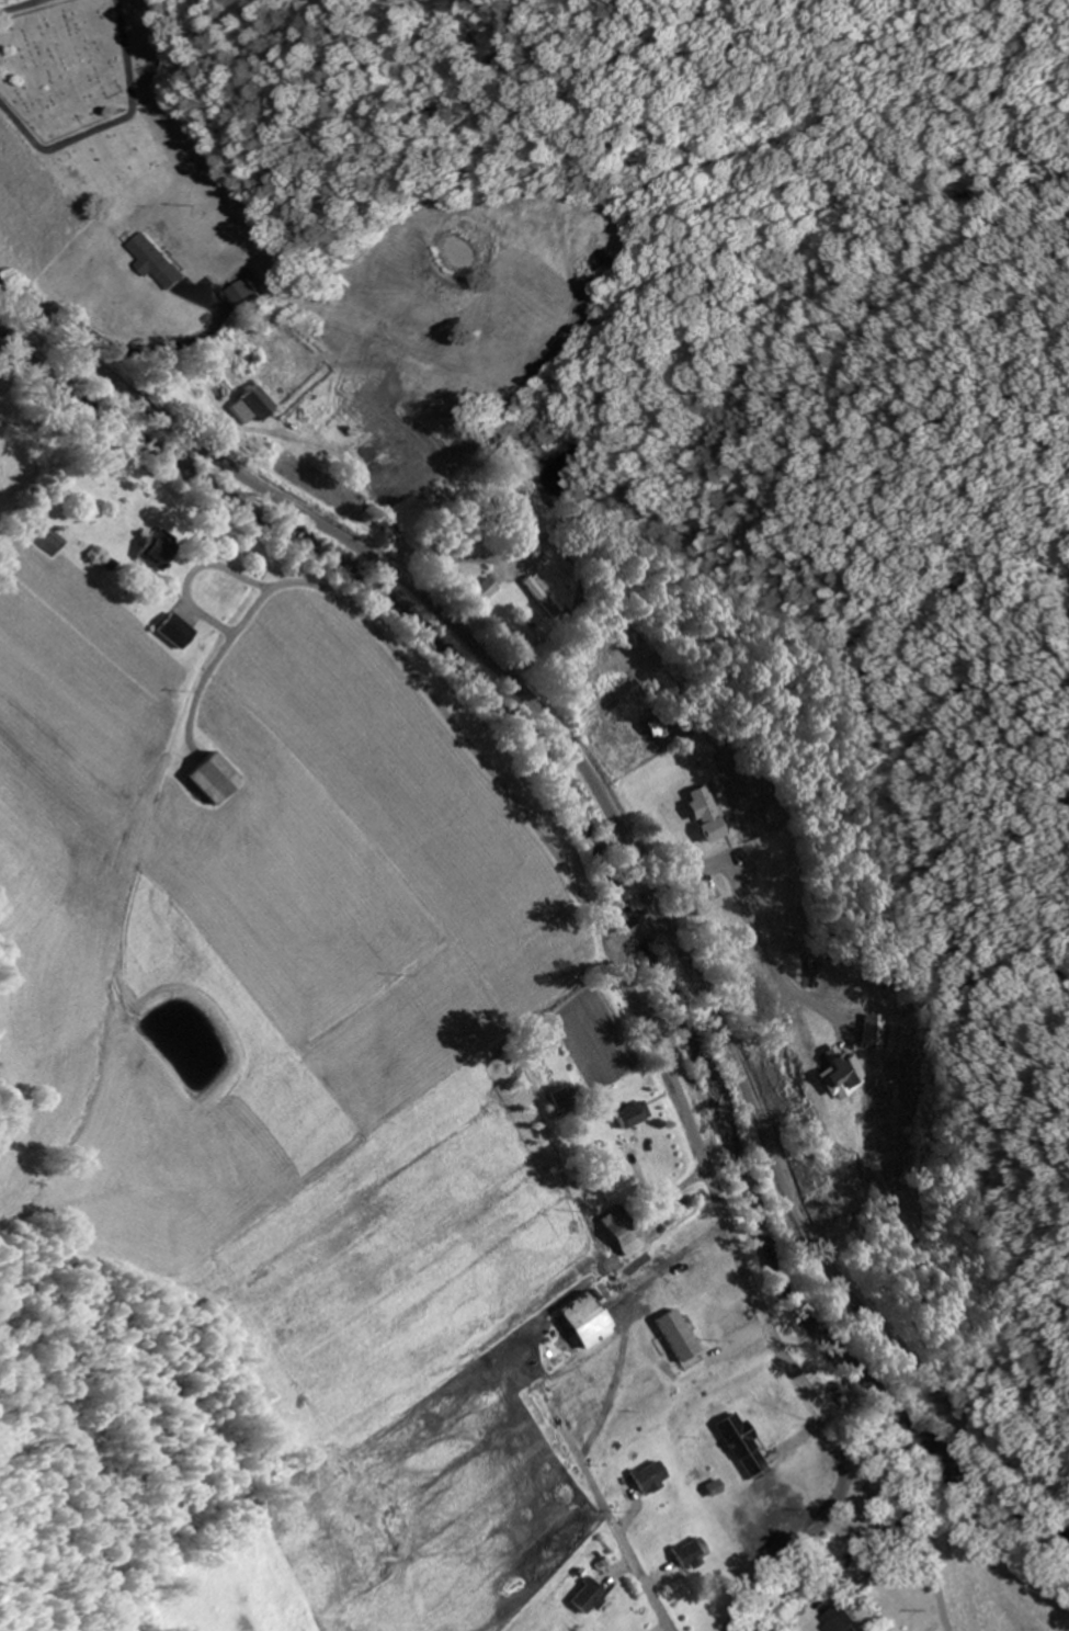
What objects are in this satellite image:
road: (15, 4)
road: (110, 123)
building: (157, 262)
building: (240, 294)
building: (258, 405)
building: (412, 461)
building: (155, 548)
building: (488, 588)
building: (178, 632)
road: (405, 680)
building: (662, 725)
building: (217, 775)
building: (715, 812)
road: (618, 814)
building: (715, 899)
building: (564, 1096)
building: (633, 1113)
building: (624, 1230)
road: (749, 1278)
building: (587, 1318)
building: (621, 1406)
building: (741, 1443)
building: (650, 1476)
building: (692, 1552)
road: (909, 1552)
building: (588, 1596)
building: (841, 1619)

